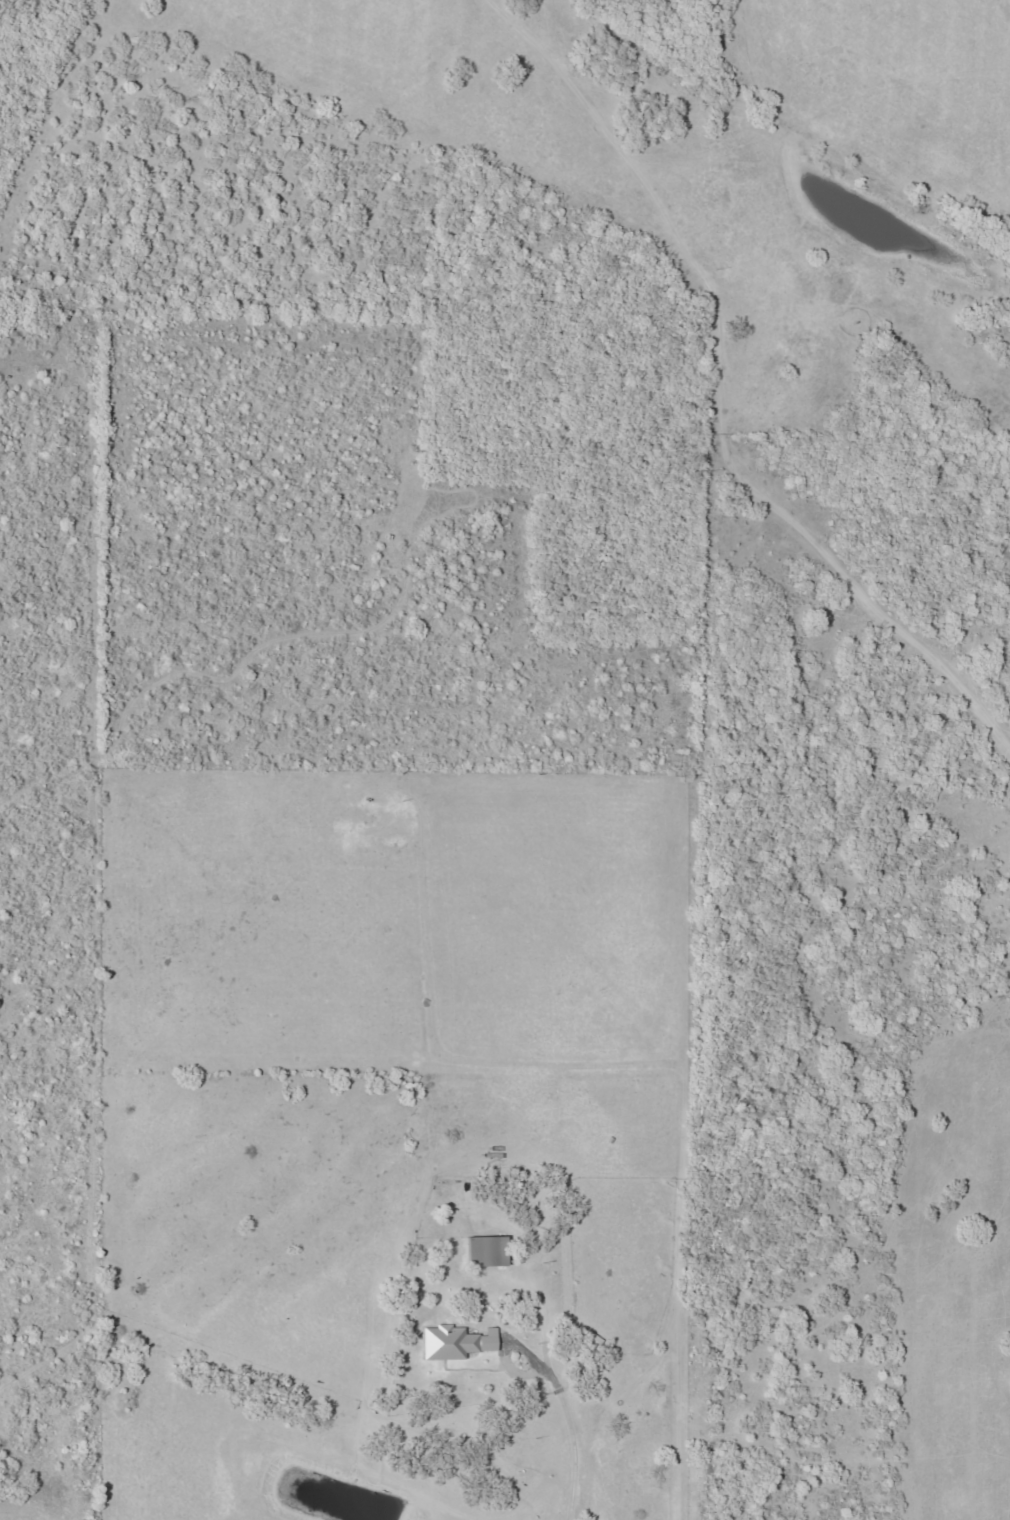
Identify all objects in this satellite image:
building: (487, 1246)
building: (457, 1337)
road: (573, 1446)

